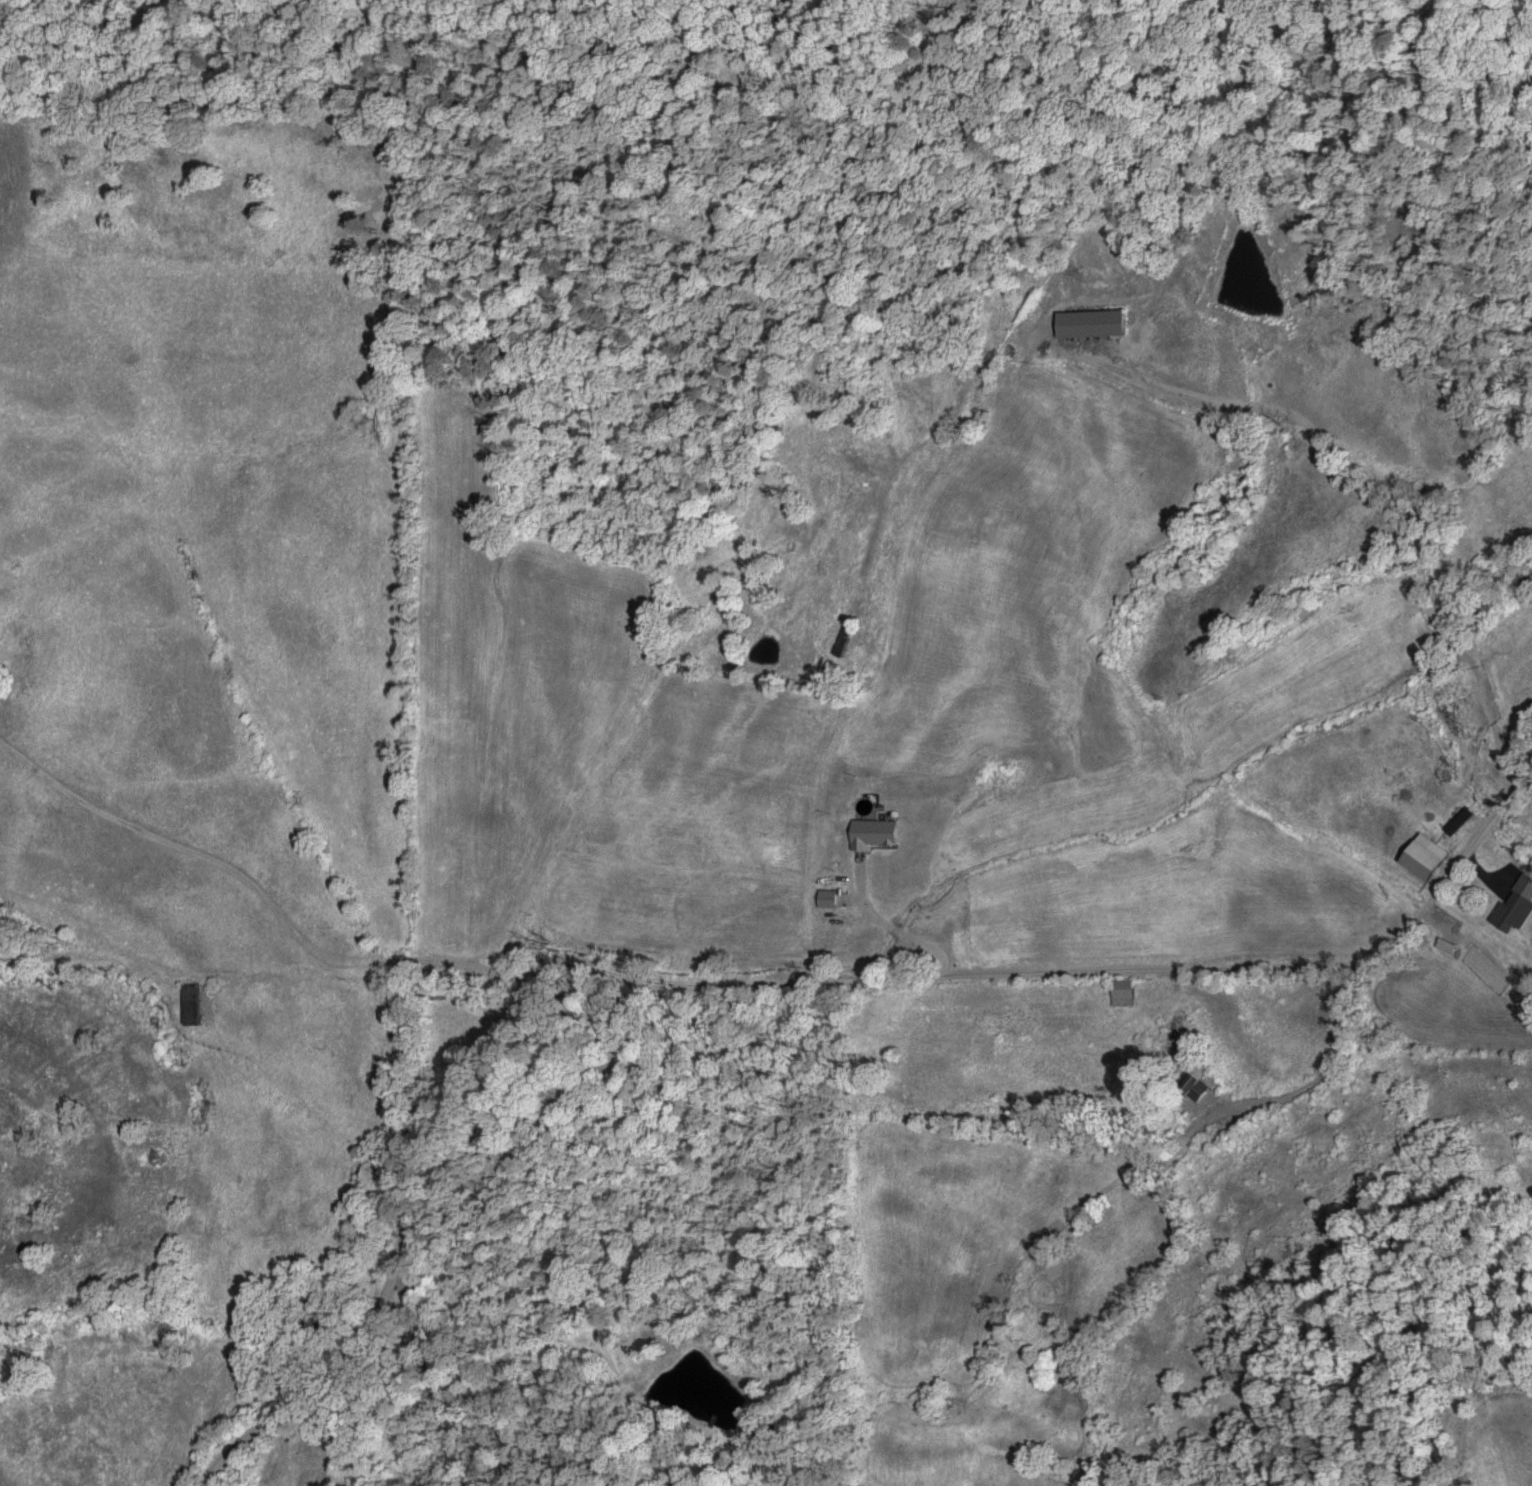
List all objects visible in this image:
building: (1087, 324)
building: (839, 642)
building: (872, 833)
building: (1418, 860)
road: (1013, 896)
building: (825, 899)
building: (1515, 906)
building: (1017, 915)
road: (317, 917)
building: (1444, 945)
road: (859, 965)
building: (1121, 993)
building: (200, 1003)
road: (1278, 1019)
building: (1191, 1089)
road: (310, 1429)

